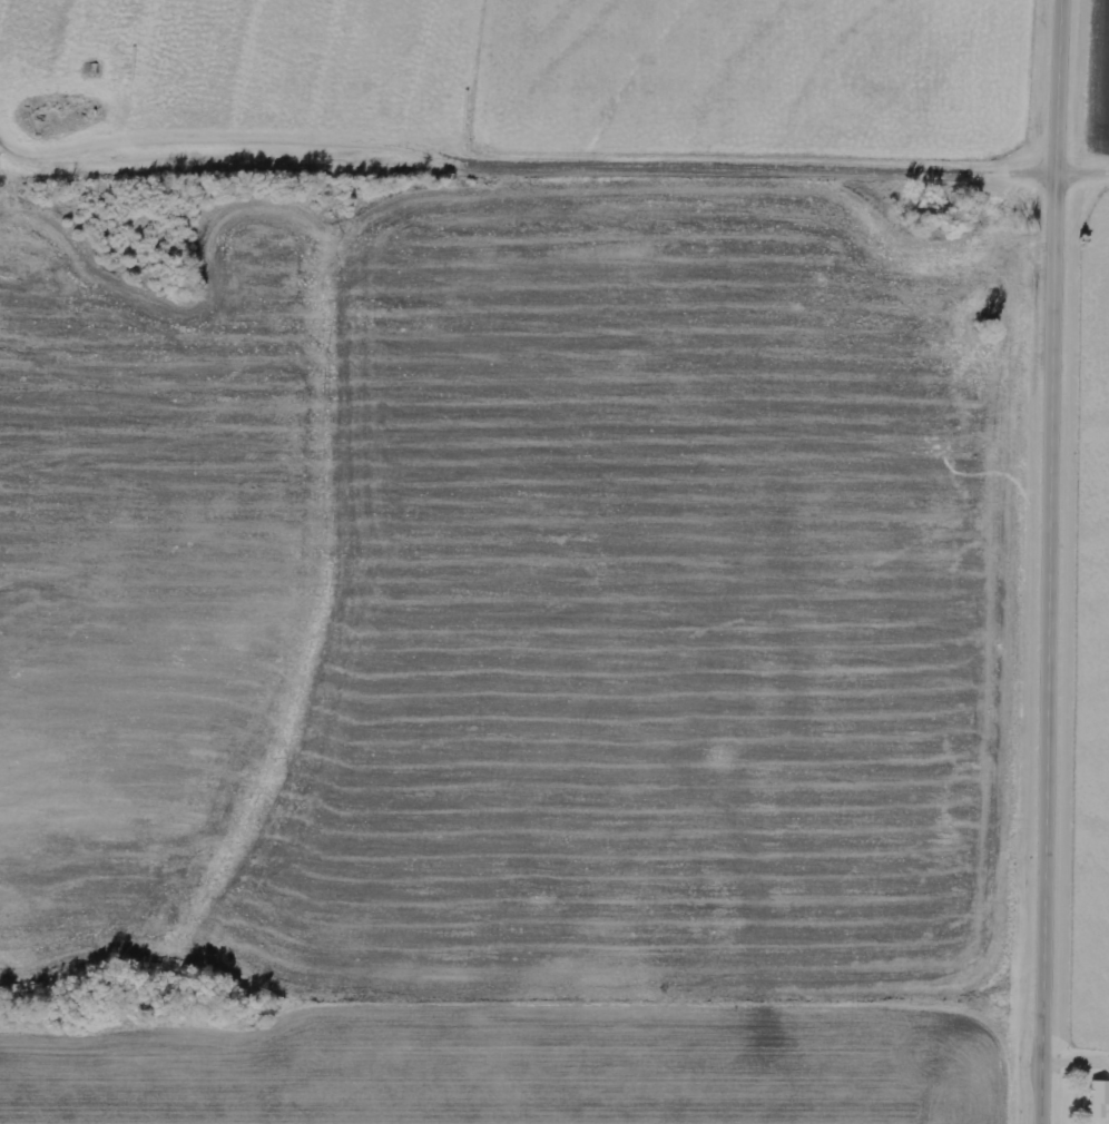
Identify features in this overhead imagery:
road: (523, 170)
road: (1082, 177)
road: (1052, 561)
building: (1100, 1101)

